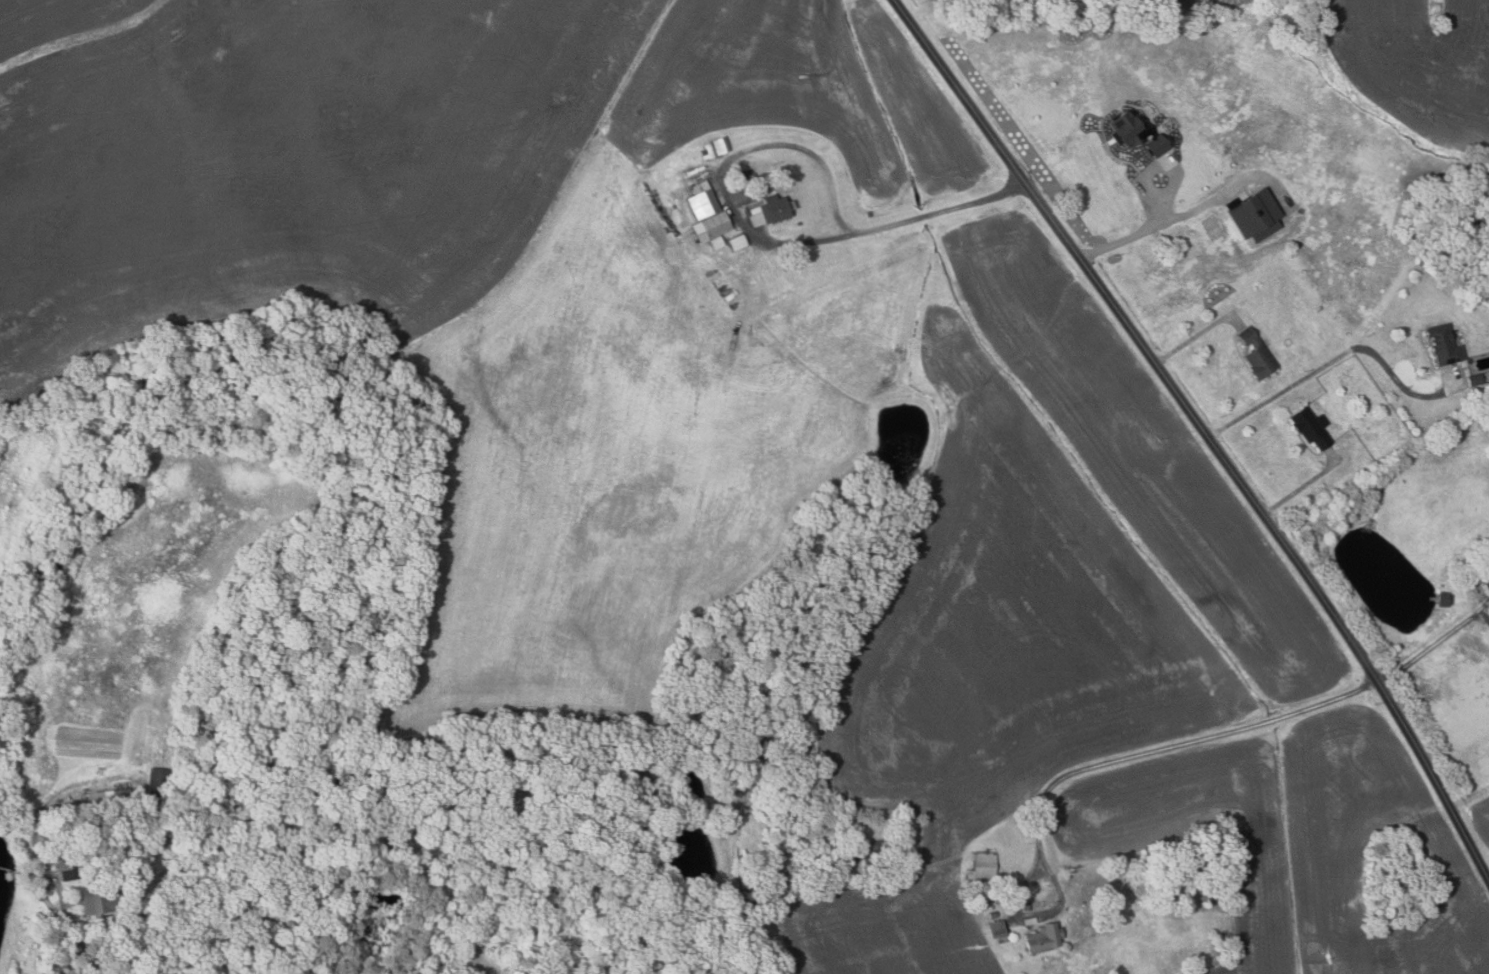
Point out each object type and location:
crop: (921, 3)
crop: (1233, 8)
crop: (1411, 67)
building: (1131, 128)
building: (1159, 145)
building: (721, 146)
road: (806, 150)
building: (708, 152)
building: (753, 179)
building: (703, 200)
building: (771, 210)
building: (1211, 223)
building: (716, 225)
road: (1149, 229)
building: (718, 242)
building: (738, 242)
road: (1194, 338)
building: (1446, 344)
building: (1258, 354)
road: (1334, 360)
building: (1476, 381)
building: (1312, 427)
road: (1205, 430)
road: (1300, 488)
building: (801, 507)
building: (1476, 572)
crop: (1040, 596)
crop: (1040, 596)
building: (1446, 599)
road: (1436, 643)
road: (1100, 764)
building: (157, 786)
building: (109, 796)
building: (67, 799)
crop: (1480, 821)
crop: (1298, 842)
crop: (1306, 845)
building: (869, 848)
building: (987, 866)
building: (72, 870)
building: (970, 874)
building: (102, 899)
building: (992, 907)
building: (1028, 907)
building: (994, 914)
road: (126, 915)
building: (1031, 921)
building: (1000, 931)
building: (1045, 939)

